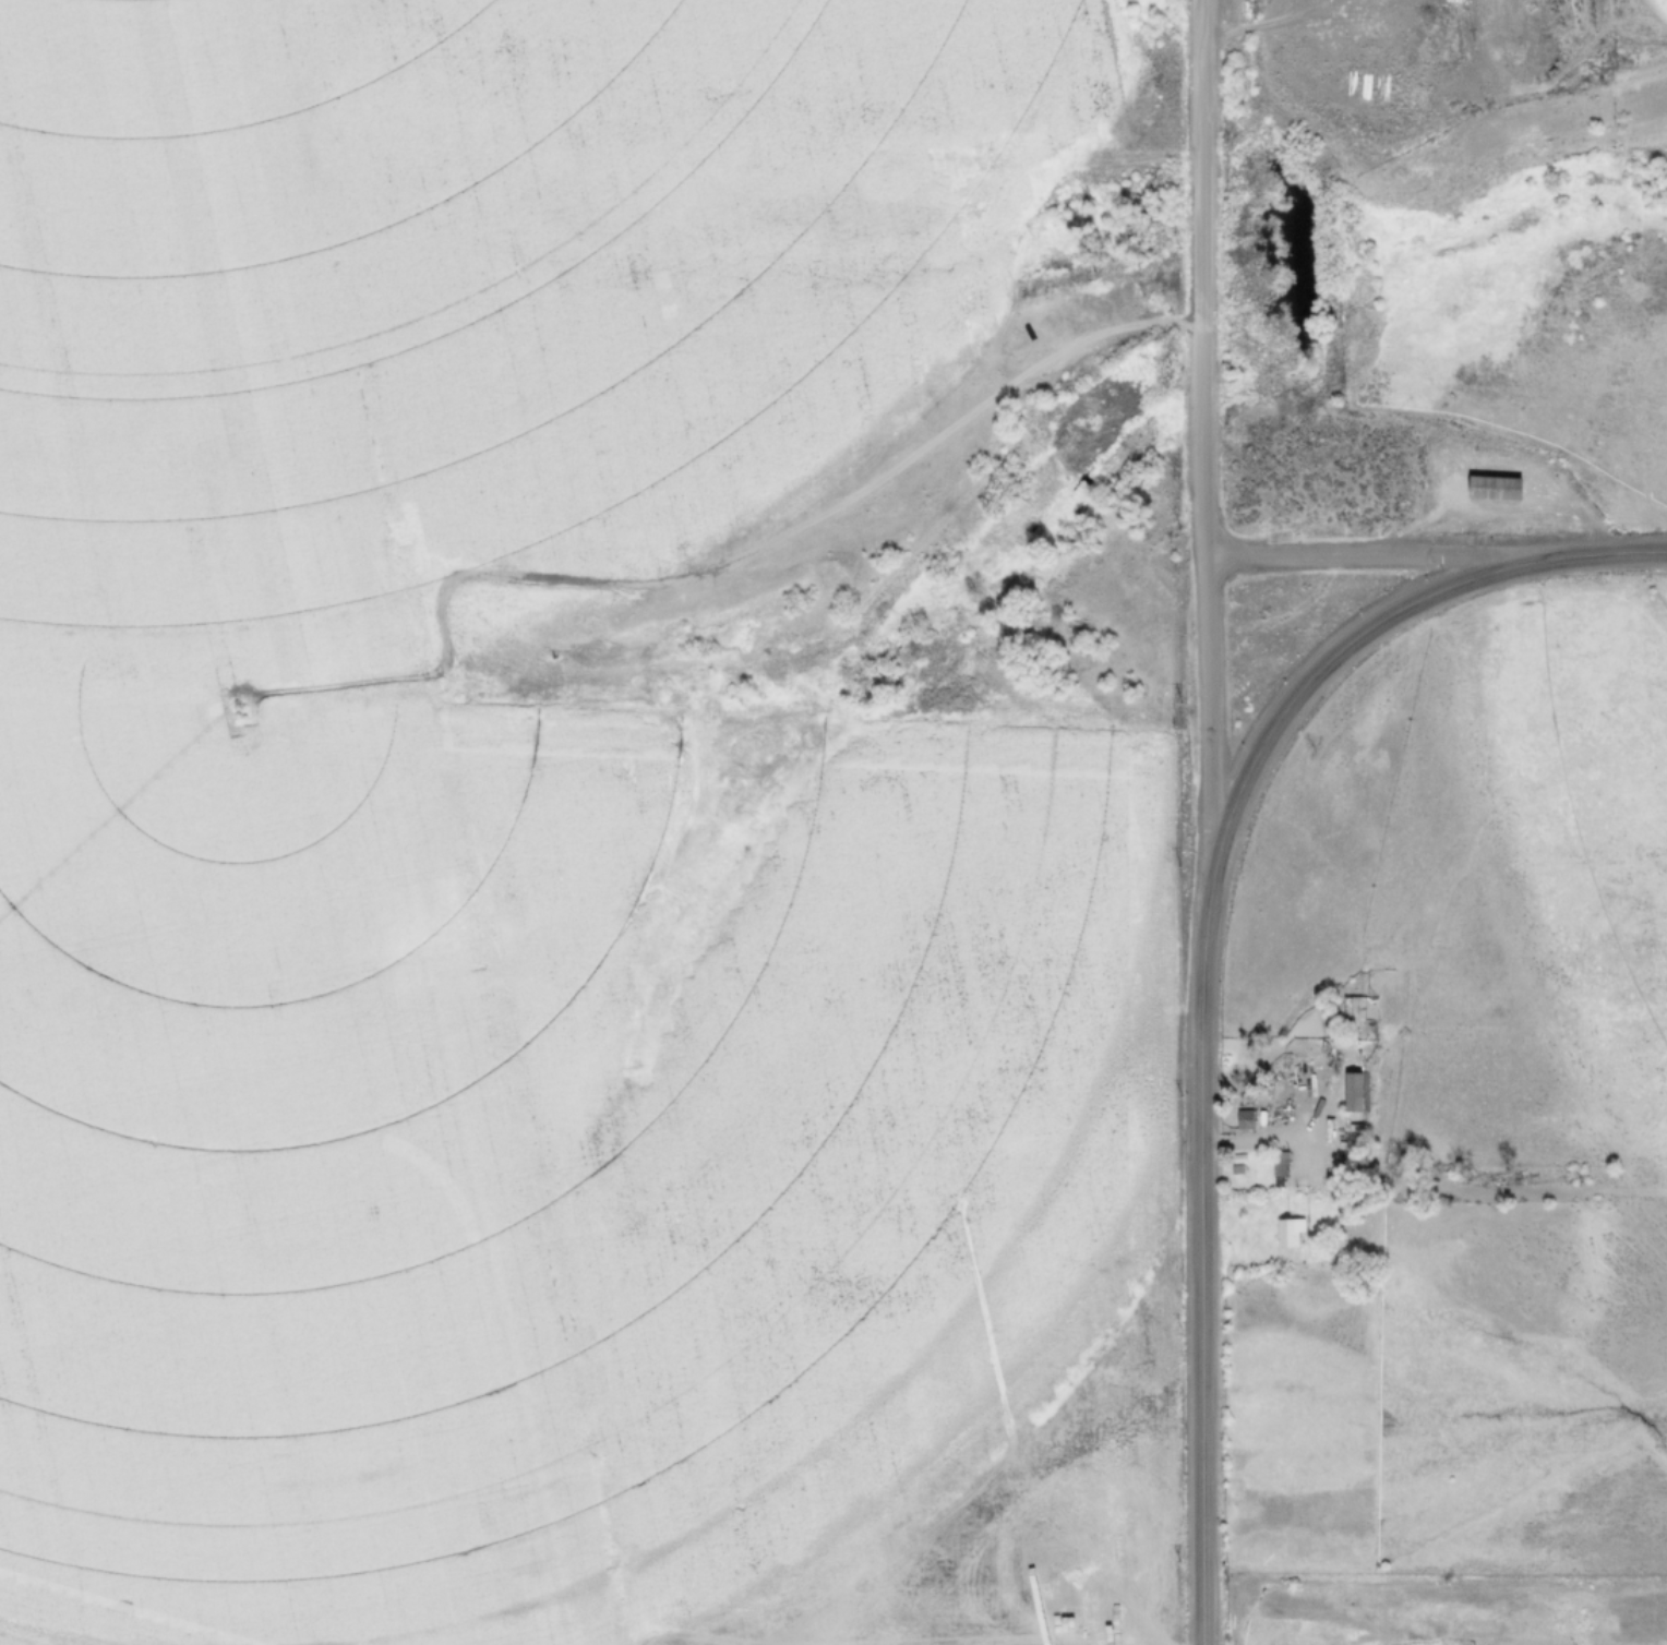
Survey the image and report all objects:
road: (1206, 444)
building: (1494, 487)
road: (1391, 555)
road: (1367, 627)
crop: (233, 932)
building: (1362, 1018)
building: (1356, 1092)
building: (1244, 1120)
crop: (1455, 1143)
building: (1280, 1165)
building: (1288, 1233)
road: (1202, 1266)

